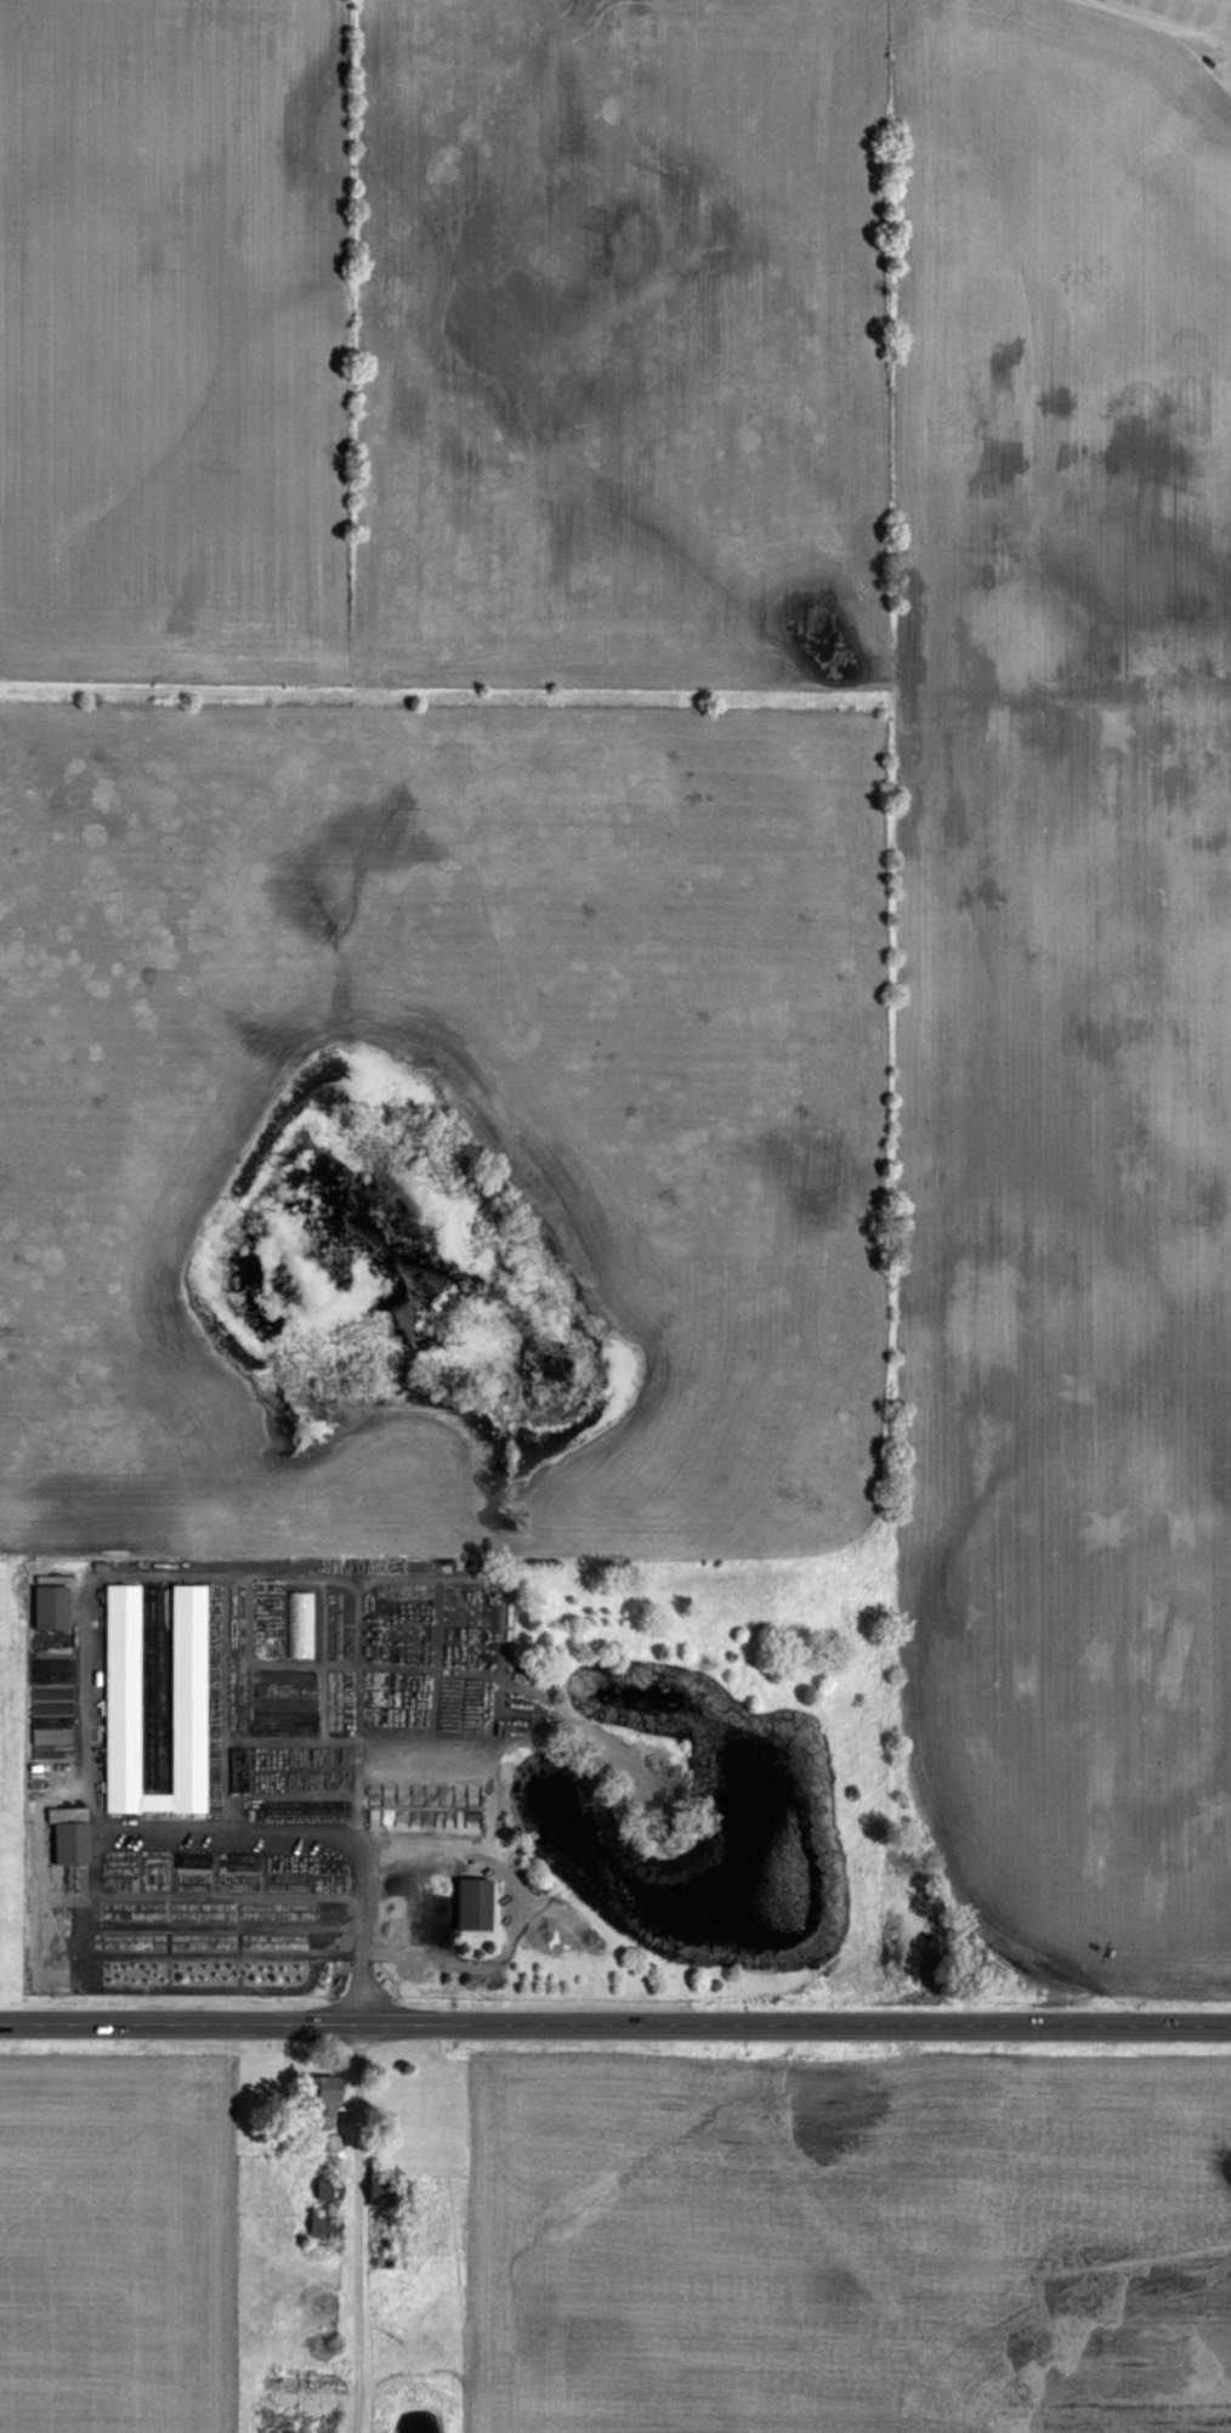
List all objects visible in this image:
road: (1148, 21)
building: (47, 1606)
building: (153, 1697)
road: (354, 1704)
building: (52, 1719)
road: (319, 1831)
building: (67, 1834)
road: (517, 1899)
building: (467, 1902)
road: (614, 2022)
building: (317, 2095)
building: (324, 2189)
building: (320, 2224)
road: (353, 2228)
building: (296, 2403)

